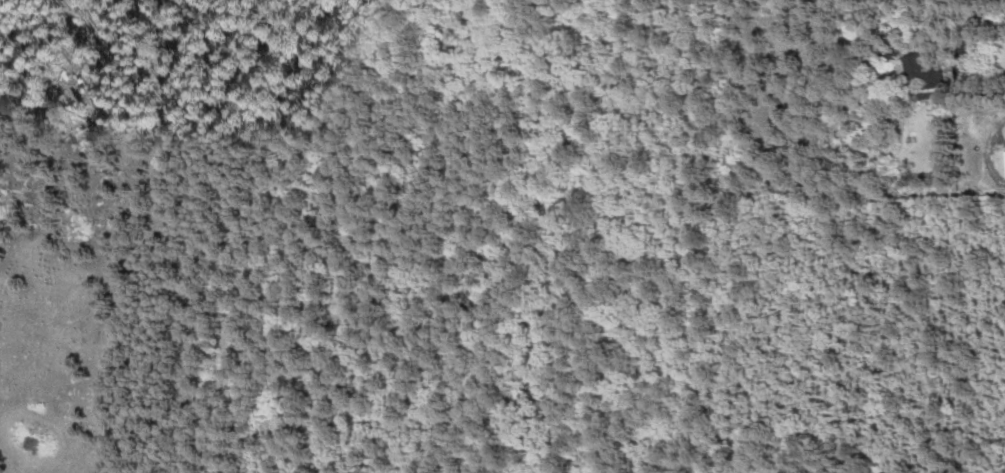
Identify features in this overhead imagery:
building: (925, 71)

